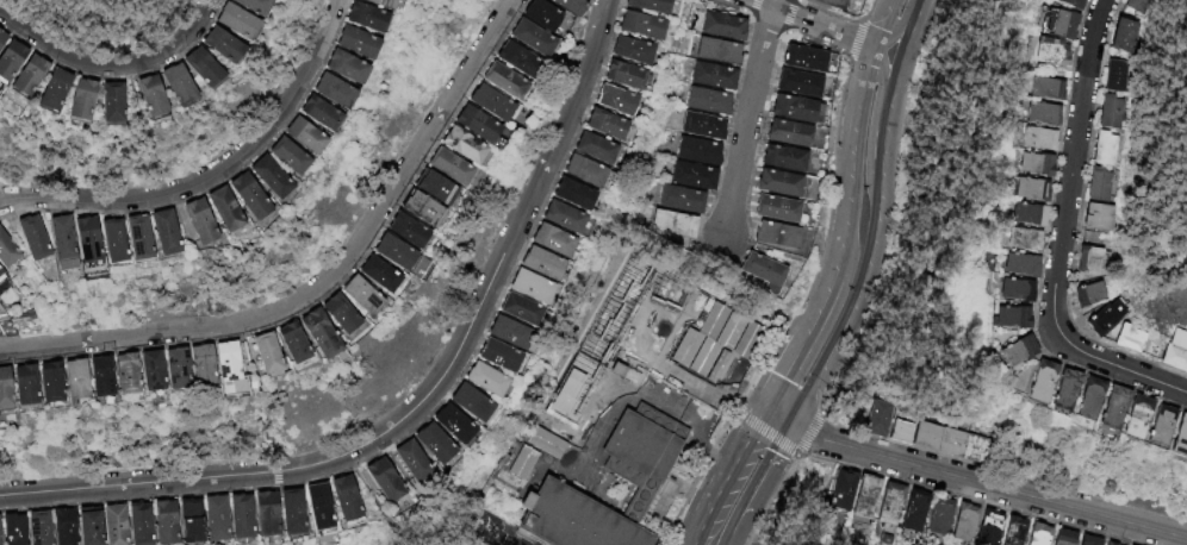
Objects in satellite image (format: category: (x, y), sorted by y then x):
building: (379, 2)
building: (247, 4)
building: (647, 4)
building: (831, 4)
building: (1073, 4)
building: (1136, 5)
building: (570, 7)
road: (866, 8)
building: (361, 14)
building: (229, 15)
building: (540, 15)
park: (97, 21)
building: (639, 21)
road: (884, 23)
building: (1062, 23)
road: (815, 24)
building: (722, 27)
road: (912, 27)
building: (1, 36)
building: (1123, 36)
building: (212, 37)
building: (352, 38)
building: (530, 38)
road: (854, 40)
building: (630, 46)
building: (5, 48)
building: (1049, 49)
building: (717, 51)
road: (889, 51)
building: (803, 59)
building: (517, 61)
building: (194, 62)
road: (106, 63)
building: (341, 63)
building: (15, 68)
building: (622, 71)
building: (27, 75)
building: (1114, 76)
building: (714, 77)
building: (168, 79)
building: (504, 82)
building: (43, 84)
building: (800, 84)
building: (329, 87)
building: (1043, 87)
building: (139, 88)
building: (52, 89)
building: (150, 95)
building: (70, 96)
building: (614, 96)
building: (100, 100)
building: (708, 101)
building: (490, 102)
road: (888, 106)
building: (316, 111)
building: (796, 111)
building: (1039, 112)
building: (1108, 112)
road: (747, 117)
building: (604, 121)
building: (477, 125)
building: (703, 127)
building: (300, 132)
building: (789, 134)
building: (1036, 137)
road: (854, 138)
building: (593, 145)
building: (464, 146)
building: (1104, 149)
building: (698, 151)
building: (284, 152)
building: (783, 158)
building: (1033, 162)
building: (449, 168)
building: (583, 168)
building: (267, 174)
road: (210, 175)
building: (694, 177)
building: (778, 183)
building: (1098, 184)
building: (1028, 187)
building: (434, 188)
building: (572, 192)
building: (243, 195)
road: (878, 196)
building: (682, 200)
building: (218, 207)
building: (421, 209)
building: (777, 209)
building: (1026, 212)
building: (564, 215)
building: (1096, 217)
building: (193, 219)
building: (673, 225)
building: (157, 231)
building: (406, 231)
building: (26, 236)
building: (55, 236)
building: (776, 236)
building: (131, 237)
building: (552, 237)
building: (1021, 237)
road: (1063, 237)
building: (81, 238)
building: (107, 239)
building: (5, 251)
road: (885, 255)
building: (398, 256)
building: (541, 259)
building: (1088, 259)
building: (1019, 263)
building: (763, 270)
building: (0, 271)
building: (378, 275)
building: (644, 277)
road: (324, 280)
building: (529, 283)
building: (1014, 288)
building: (1089, 294)
building: (360, 296)
building: (688, 300)
building: (518, 306)
building: (338, 314)
road: (789, 314)
building: (1009, 314)
building: (1105, 318)
building: (723, 321)
building: (619, 322)
road: (814, 324)
building: (508, 330)
building: (315, 332)
road: (839, 332)
building: (1129, 339)
building: (288, 342)
building: (745, 344)
building: (1015, 349)
building: (1176, 351)
building: (261, 352)
building: (496, 352)
building: (198, 364)
building: (172, 368)
building: (223, 368)
building: (147, 370)
building: (483, 375)
building: (95, 377)
building: (120, 377)
building: (69, 378)
building: (1040, 378)
building: (588, 380)
building: (44, 384)
building: (19, 386)
building: (1063, 388)
building: (2, 389)
building: (578, 395)
building: (1088, 396)
building: (468, 399)
road: (421, 400)
building: (1112, 405)
traffic signals: (765, 409)
building: (568, 412)
building: (1135, 414)
road: (777, 416)
building: (878, 420)
building: (450, 421)
traffic signals: (790, 424)
building: (1158, 424)
building: (557, 426)
road: (764, 431)
road: (806, 433)
building: (901, 434)
building: (1179, 436)
building: (926, 438)
building: (433, 440)
building: (547, 444)
building: (950, 444)
building: (644, 449)
building: (975, 451)
building: (409, 458)
building: (523, 464)
road: (725, 475)
building: (383, 477)
road: (754, 483)
road: (987, 483)
building: (843, 491)
building: (866, 496)
building: (343, 497)
road: (767, 500)
building: (317, 502)
road: (377, 503)
building: (890, 503)
building: (290, 506)
building: (265, 510)
building: (915, 512)
building: (240, 513)
building: (189, 515)
building: (215, 515)
building: (939, 516)
building: (163, 520)
building: (571, 520)
building: (137, 522)
building: (964, 522)
building: (112, 524)
building: (61, 526)
building: (86, 526)
building: (10, 527)
building: (36, 528)
building: (988, 528)
building: (1014, 531)
building: (1039, 534)
building: (1064, 538)
building: (1089, 540)
building: (1110, 543)

